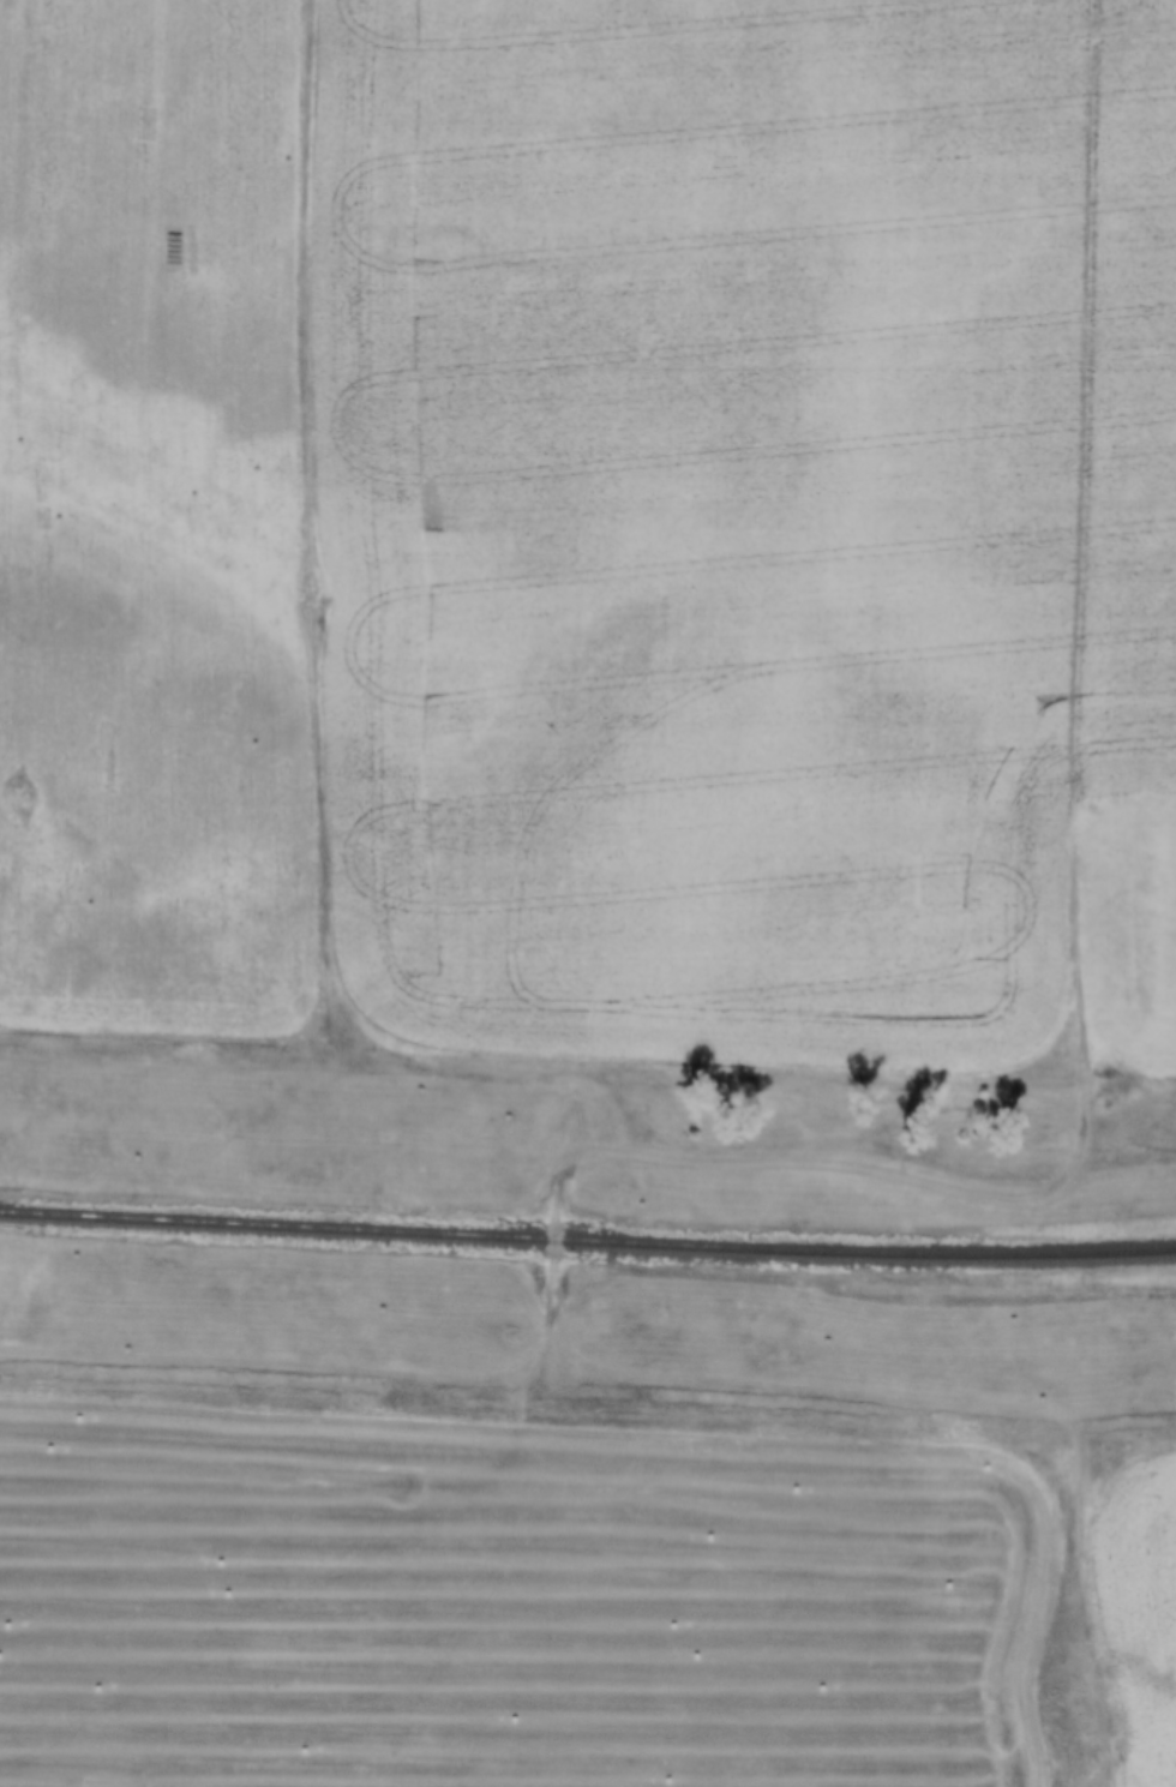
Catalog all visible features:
road: (1038, 1191)
railway: (587, 1241)

